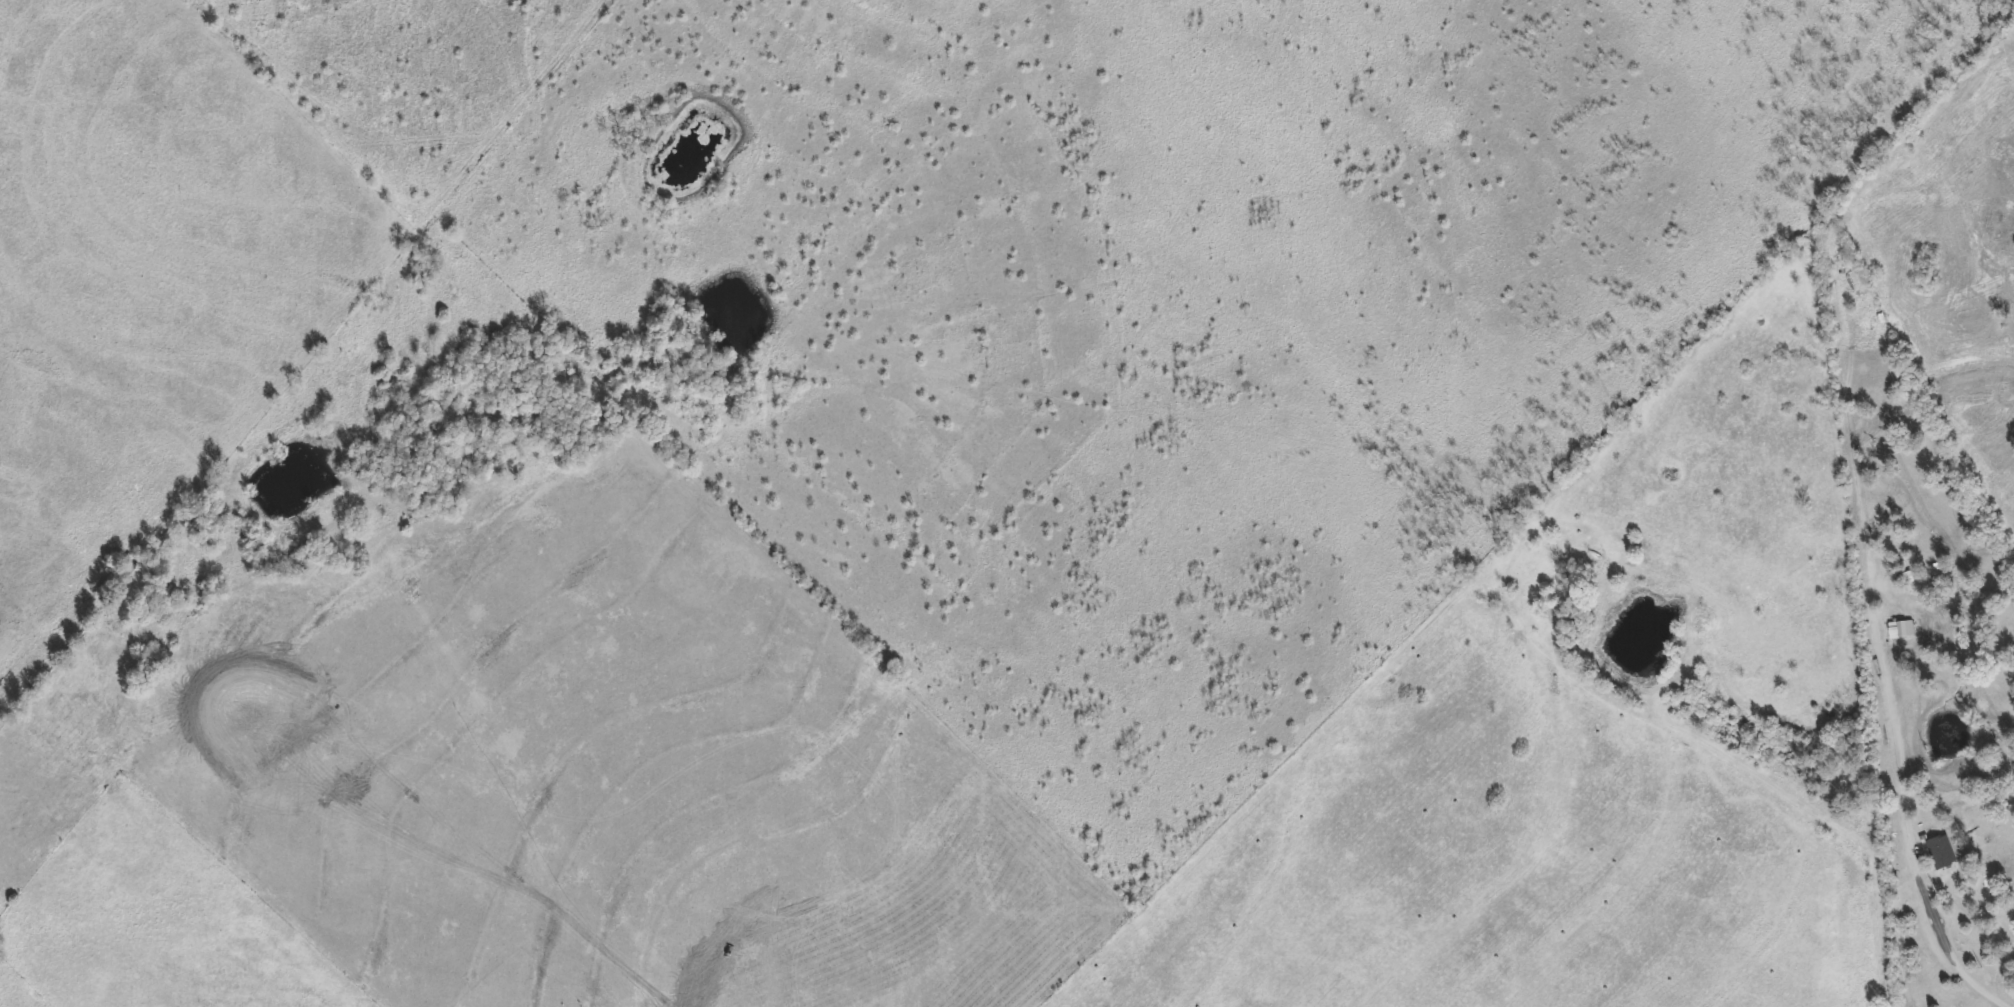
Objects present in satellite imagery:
road: (1954, 948)

